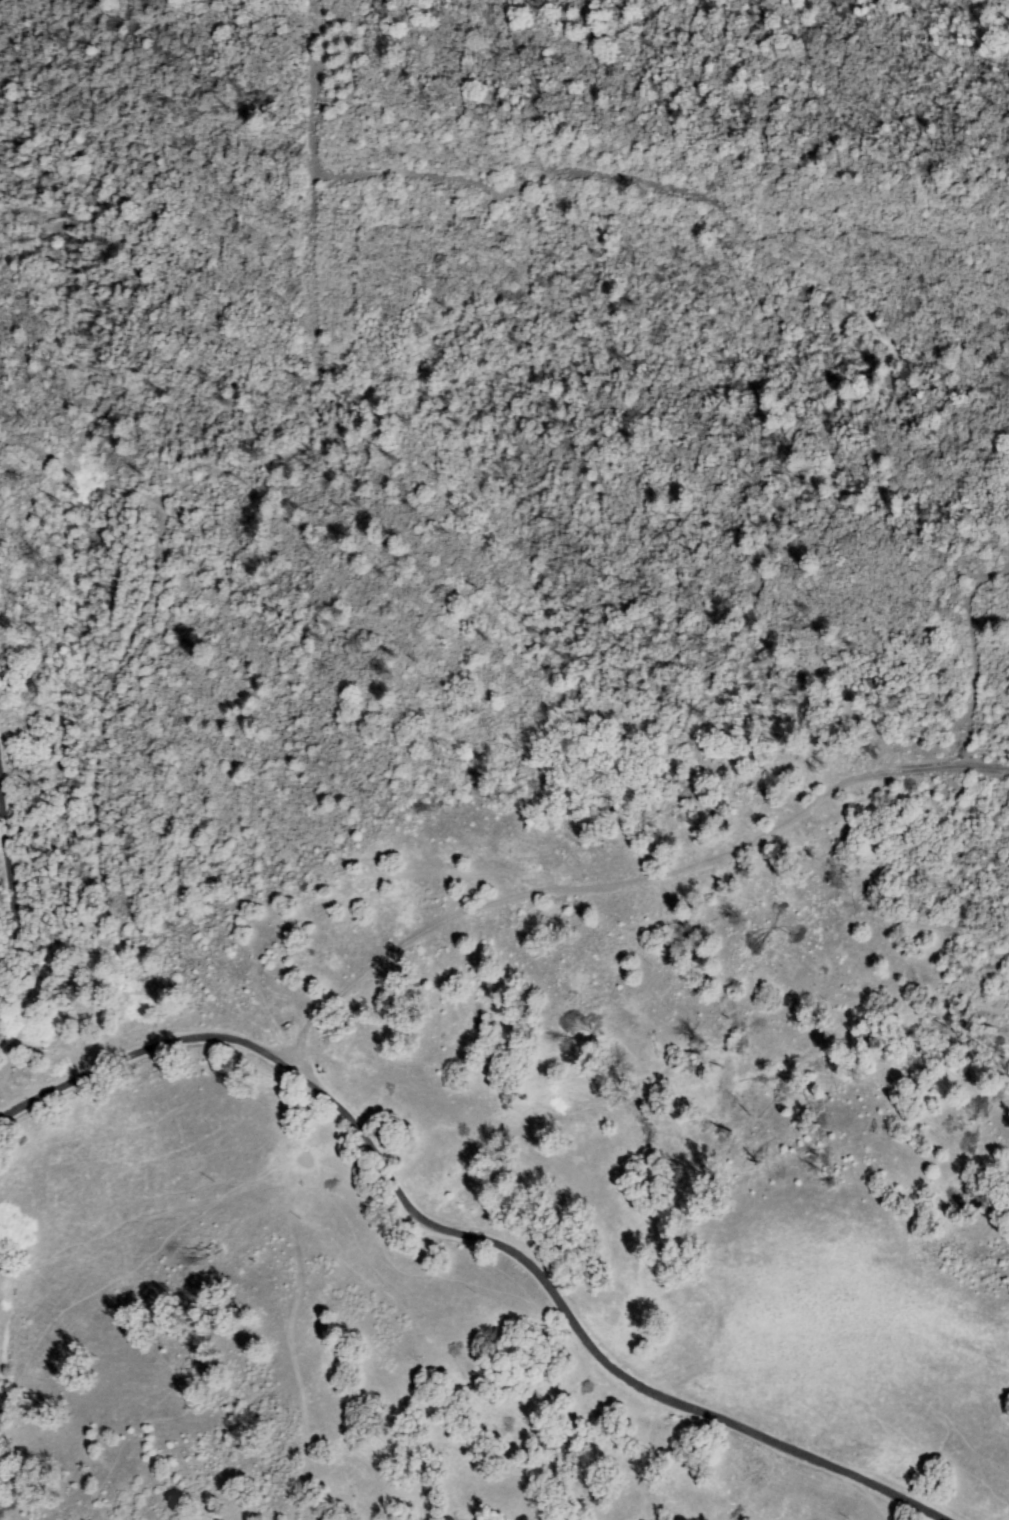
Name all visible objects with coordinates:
road: (14, 859)
road: (709, 861)
road: (470, 1234)

